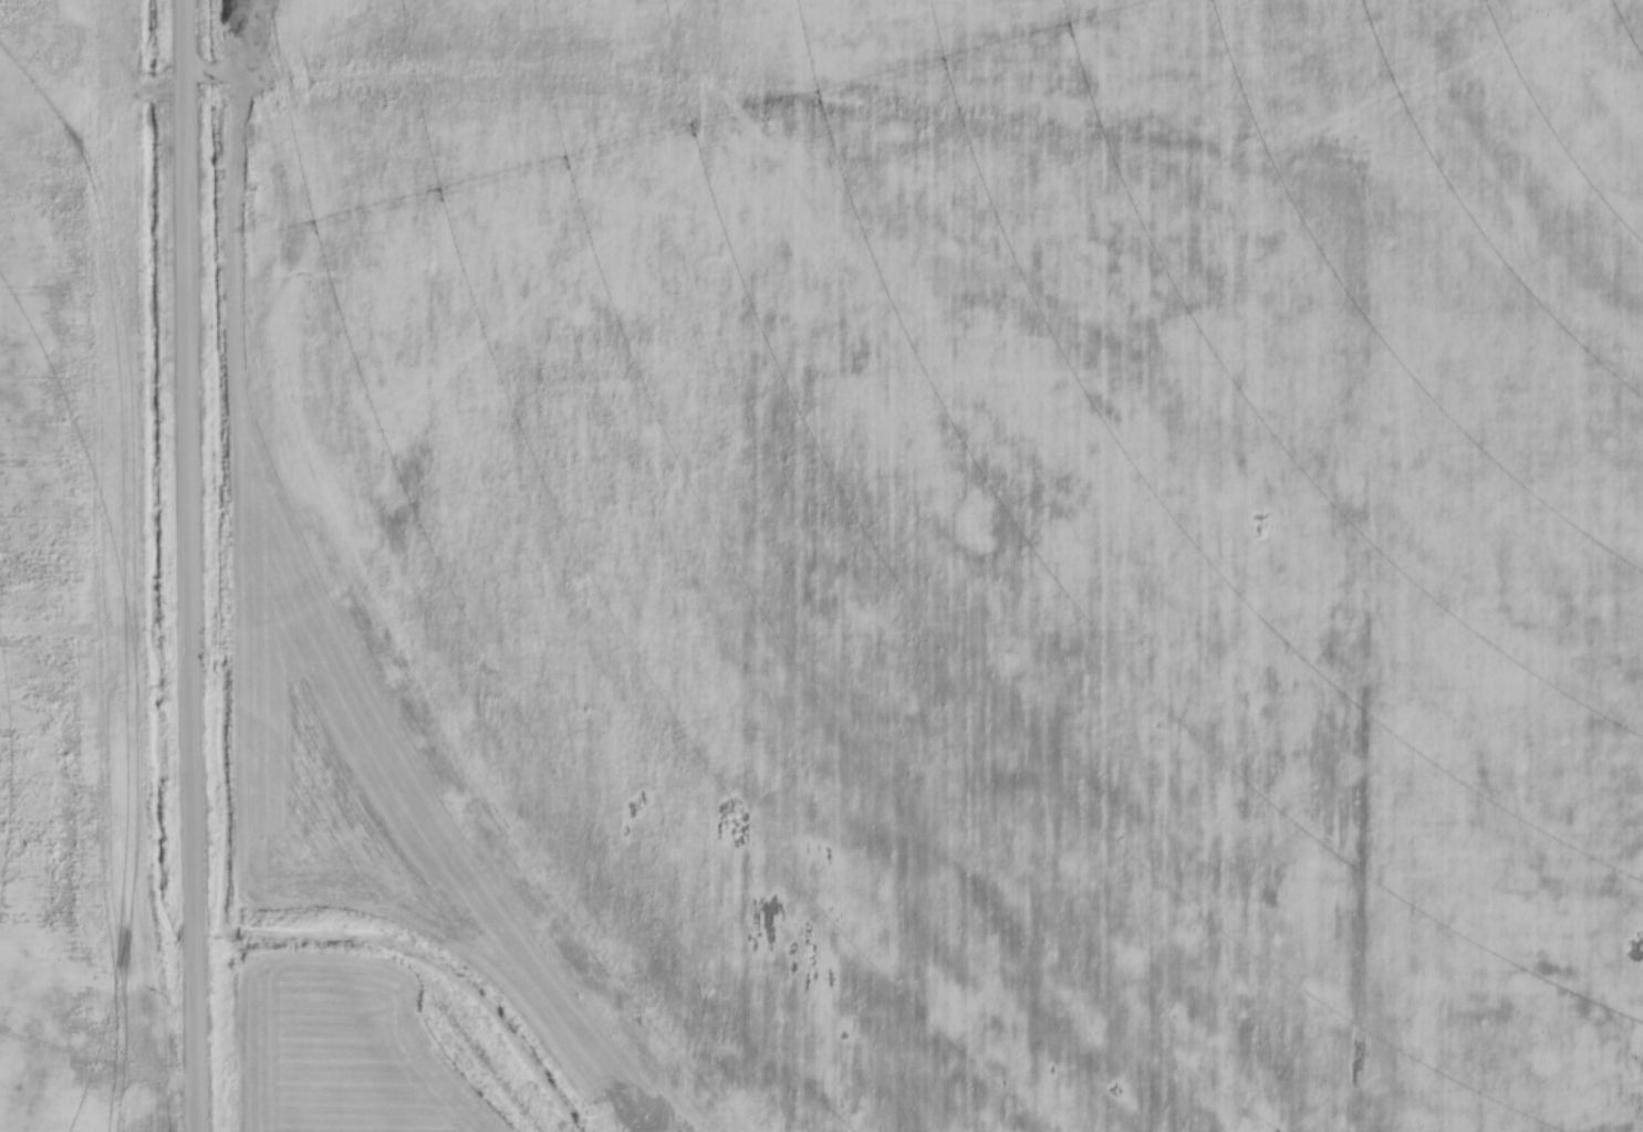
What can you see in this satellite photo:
building: (682, 70)
road: (190, 566)

